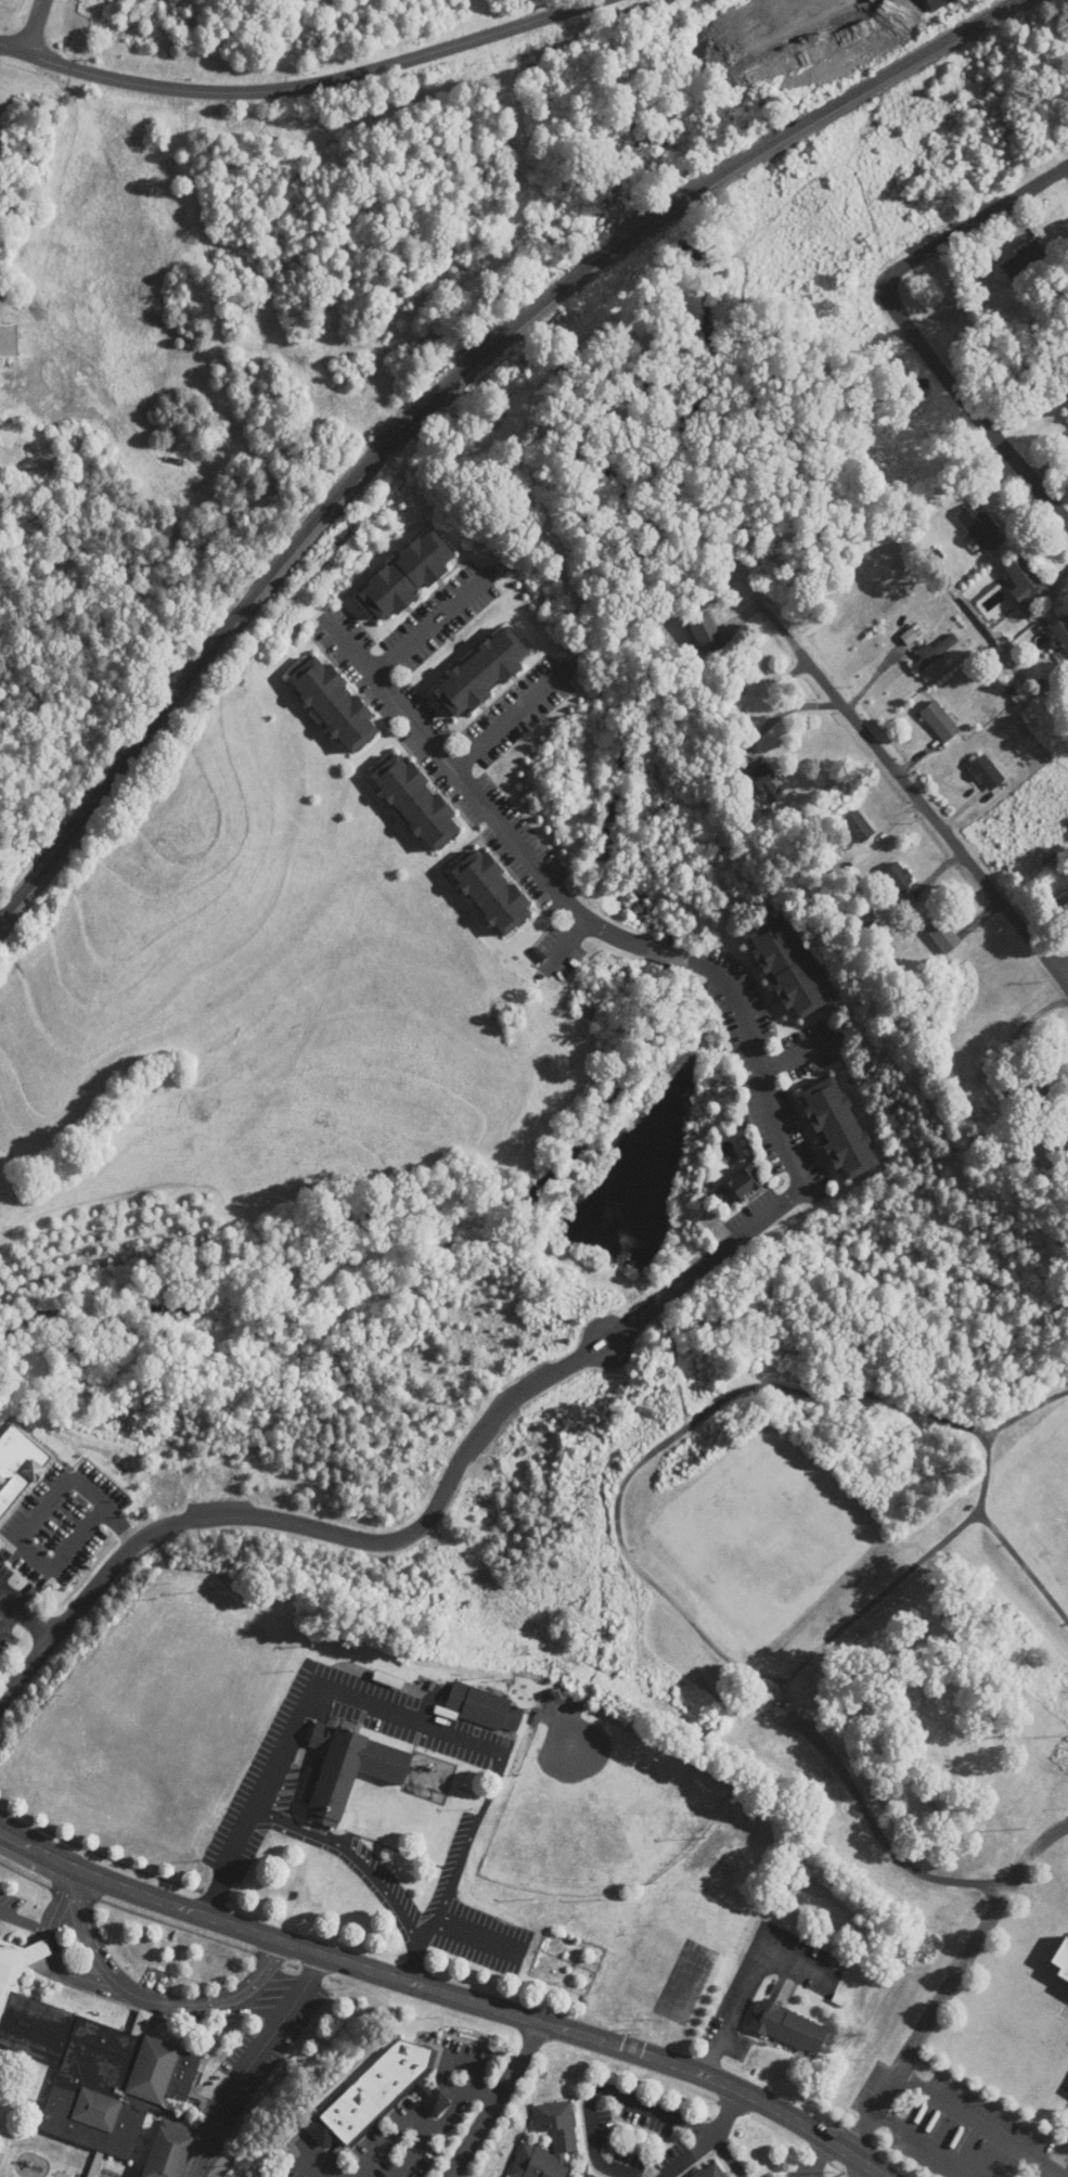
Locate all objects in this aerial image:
building: (936, 3)
road: (35, 26)
road: (299, 86)
road: (973, 222)
building: (1063, 233)
building: (1025, 261)
building: (8, 341)
railway: (448, 387)
road: (969, 400)
building: (1066, 410)
building: (981, 529)
building: (407, 577)
building: (1025, 582)
road: (428, 628)
building: (705, 630)
building: (1061, 632)
building: (481, 674)
building: (335, 706)
road: (785, 710)
road: (507, 719)
building: (939, 721)
building: (987, 773)
building: (764, 783)
road: (910, 785)
building: (416, 804)
building: (859, 827)
building: (1054, 858)
building: (899, 876)
building: (491, 893)
building: (1059, 902)
building: (943, 935)
building: (787, 969)
road: (1065, 971)
building: (1044, 1083)
building: (838, 1128)
building: (743, 1186)
road: (703, 1266)
road: (1027, 1410)
road: (20, 1528)
road: (999, 1537)
road: (621, 1548)
road: (0, 1617)
road: (20, 1635)
building: (388, 1679)
building: (481, 1705)
road: (307, 1709)
building: (345, 1766)
road: (879, 1835)
road: (24, 1920)
road: (413, 1931)
road: (52, 1950)
road: (415, 1959)
building: (1063, 1961)
road: (752, 1980)
road: (951, 1984)
road: (445, 1988)
road: (149, 1999)
building: (784, 2026)
road: (252, 2059)
building: (100, 2071)
road: (608, 2092)
building: (376, 2096)
road: (498, 2099)
road: (729, 2116)
road: (983, 2121)
building: (565, 2138)
road: (929, 2144)
road: (695, 2157)
road: (813, 2159)
road: (861, 2172)
road: (1052, 2172)
building: (713, 2173)

